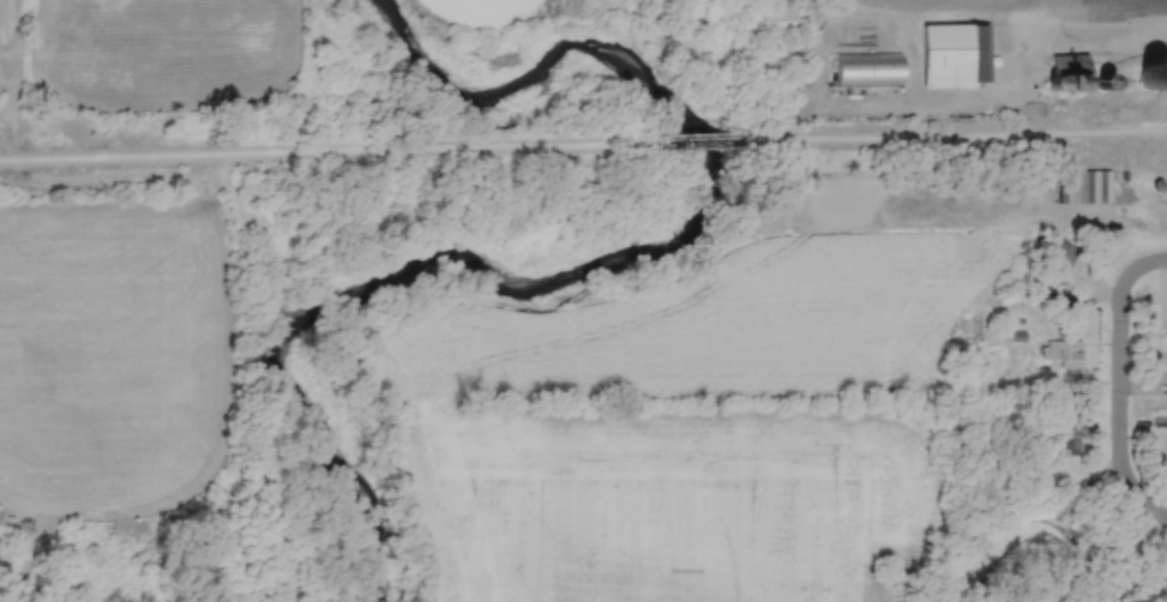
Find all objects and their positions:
road: (900, 0)
building: (781, 1)
building: (775, 22)
building: (858, 35)
building: (955, 55)
building: (1070, 65)
building: (868, 70)
building: (1156, 72)
road: (956, 136)
road: (688, 138)
road: (315, 152)
river: (596, 265)
building: (1063, 354)
road: (1117, 385)
building: (1069, 438)

